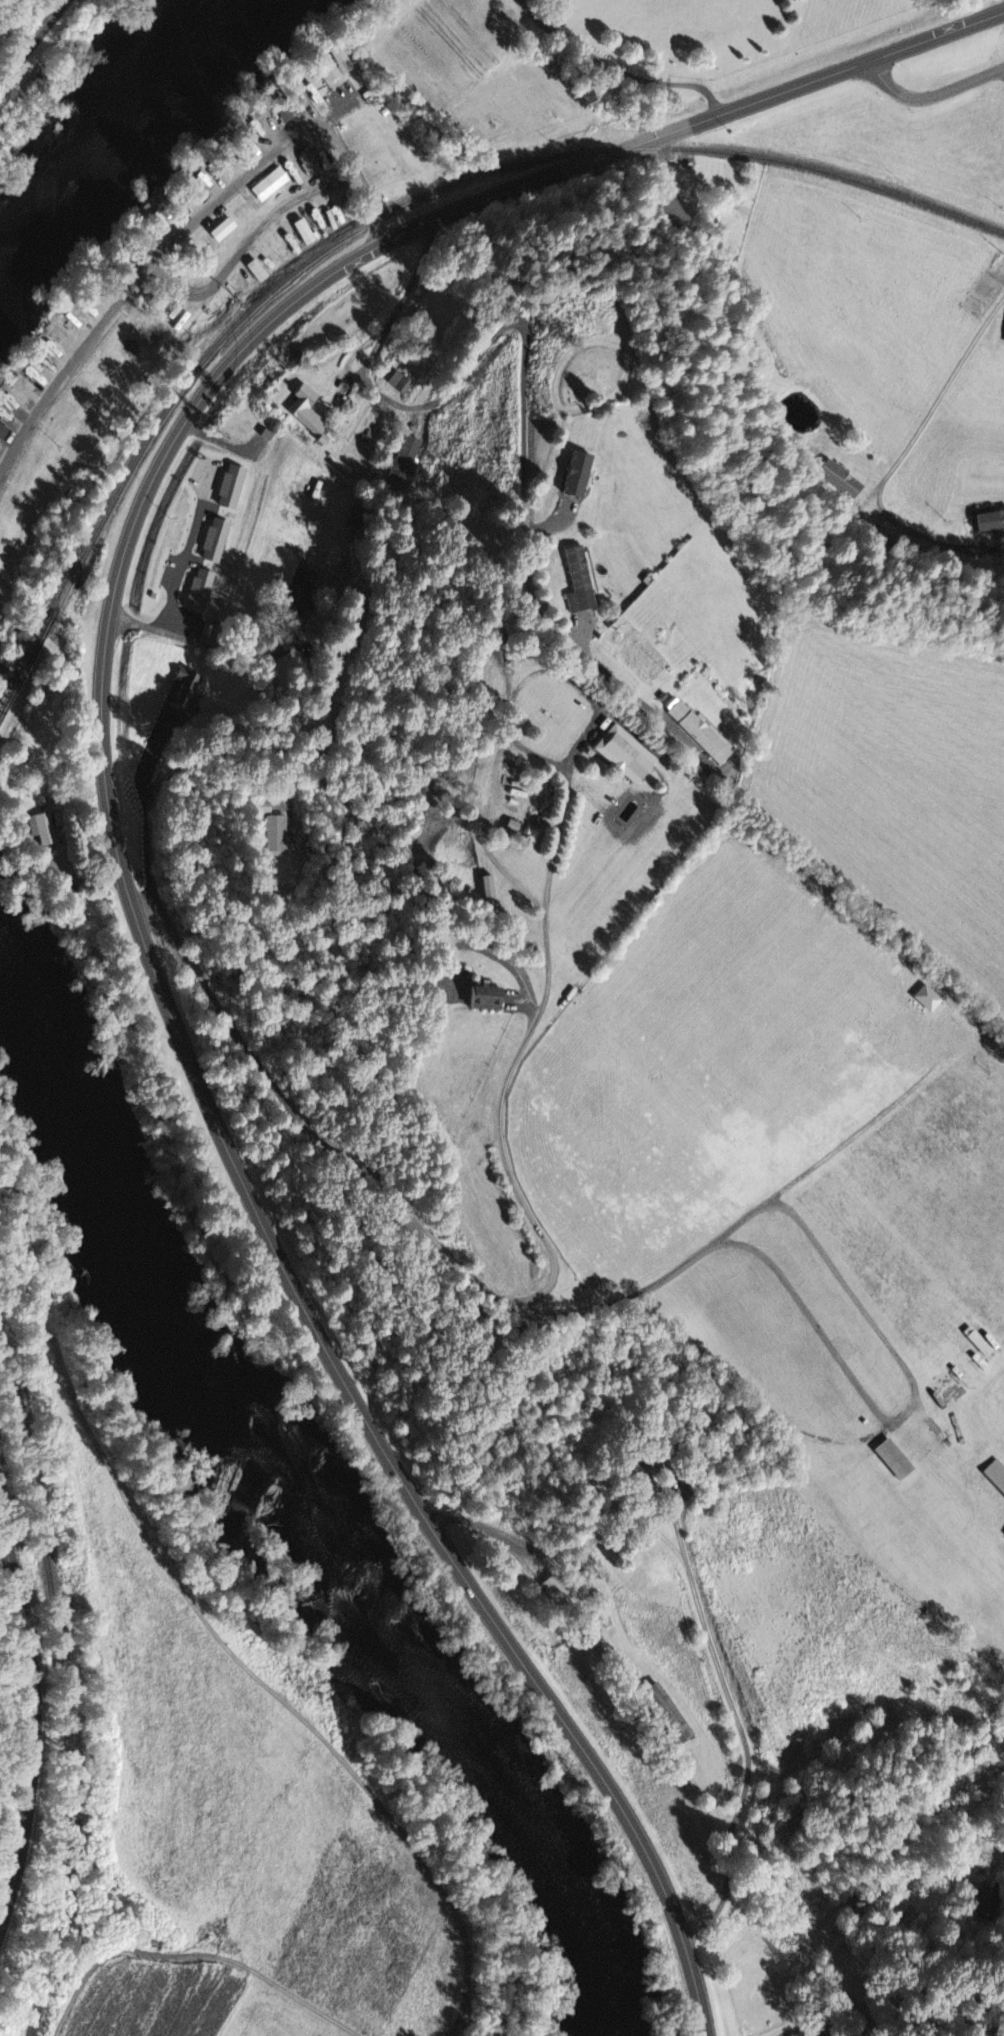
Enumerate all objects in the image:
road: (31, 41)
road: (618, 70)
road: (933, 93)
river: (102, 113)
building: (274, 186)
railway: (438, 187)
building: (680, 211)
building: (227, 231)
building: (308, 234)
building: (260, 273)
building: (1003, 341)
park: (592, 374)
road: (462, 381)
building: (402, 384)
building: (310, 413)
building: (5, 431)
building: (583, 475)
building: (840, 481)
building: (235, 488)
building: (987, 522)
building: (218, 541)
building: (1002, 547)
building: (582, 583)
building: (301, 591)
building: (203, 592)
railway: (28, 660)
building: (187, 689)
building: (631, 755)
road: (117, 828)
building: (45, 830)
building: (280, 837)
building: (493, 892)
river: (25, 982)
building: (490, 1000)
building: (931, 1000)
road: (413, 1223)
building: (898, 1461)
building: (994, 1477)
building: (1003, 1535)
river: (345, 1537)
building: (556, 1592)
railway: (70, 1697)
road: (34, 1716)
road: (740, 1725)
building: (980, 1902)
road: (813, 2028)
road: (822, 2031)

